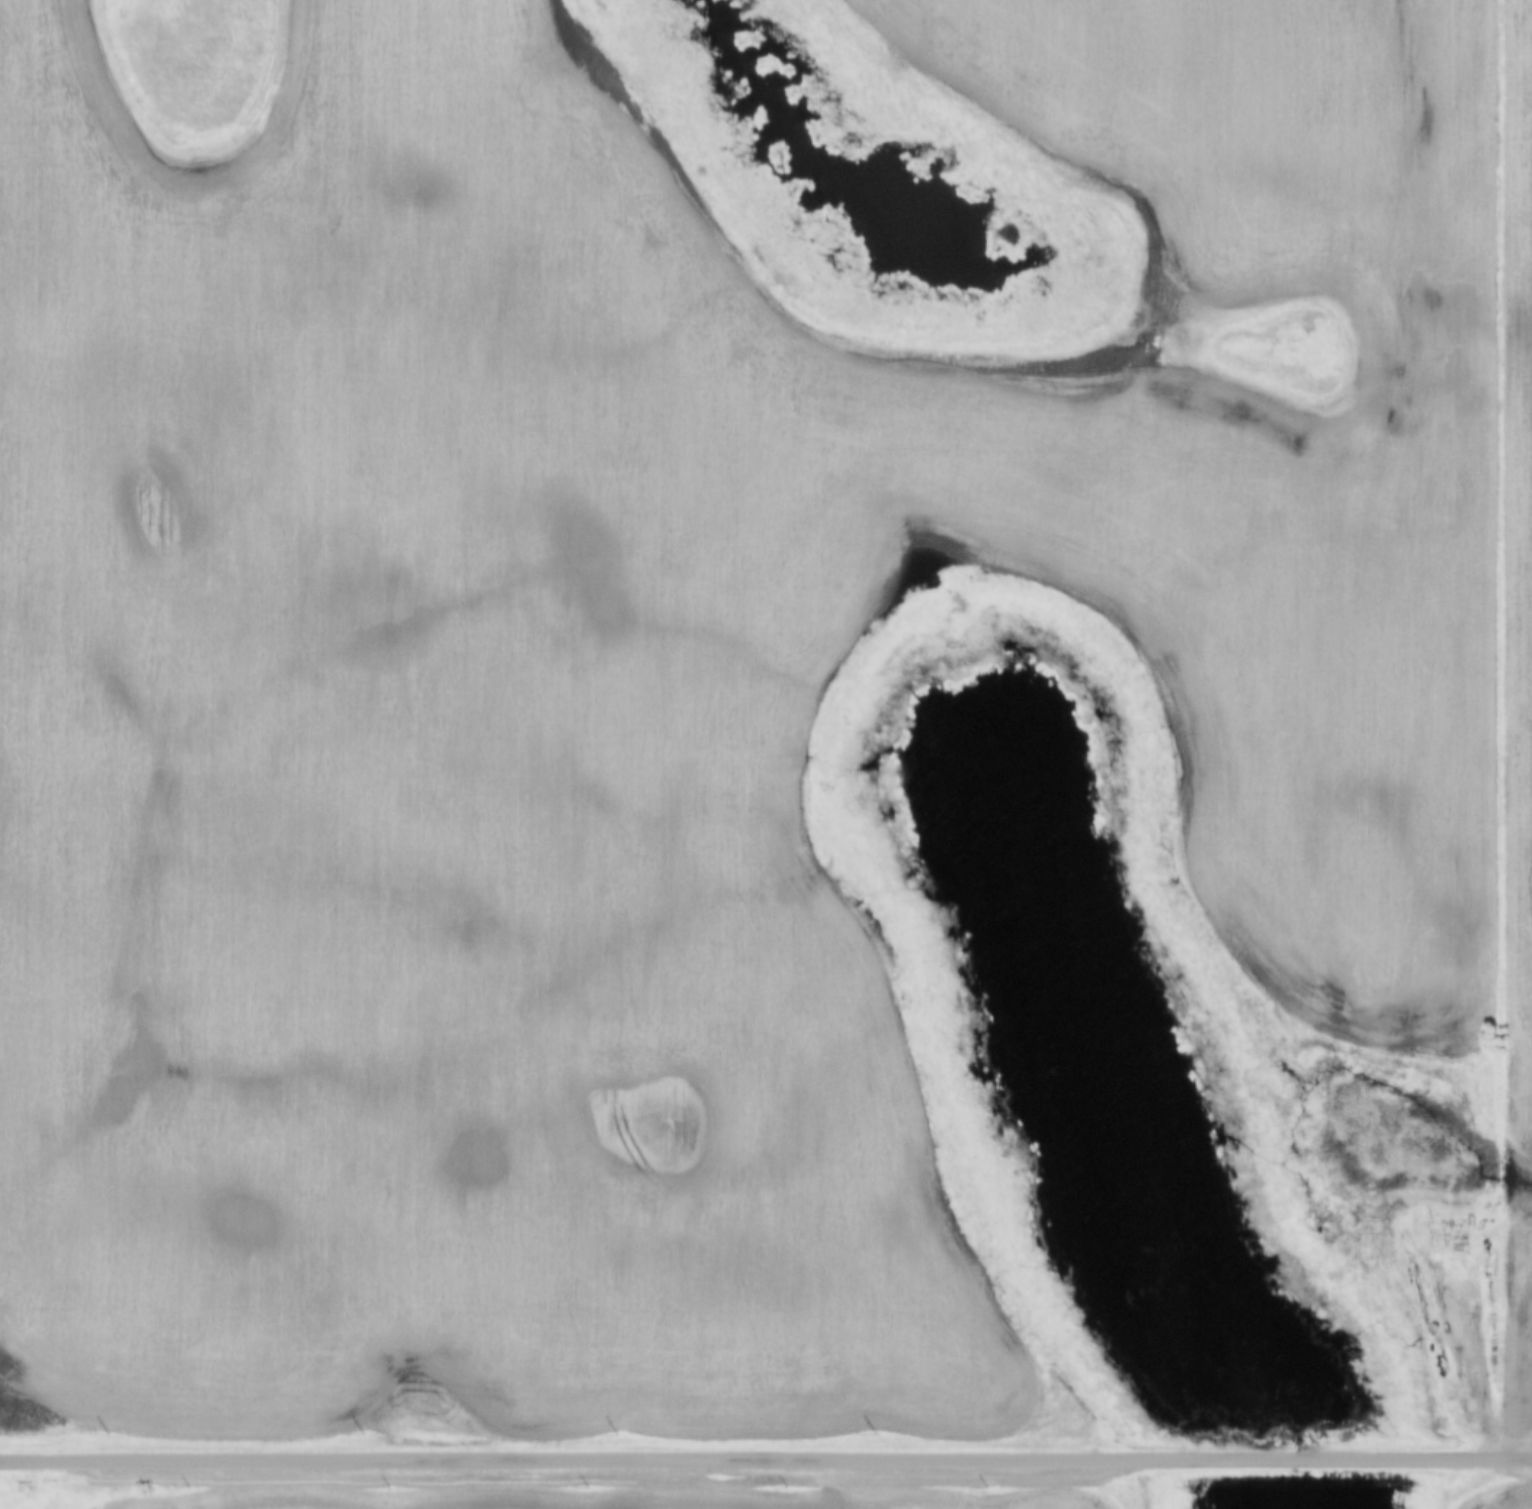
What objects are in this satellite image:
road: (766, 1459)

